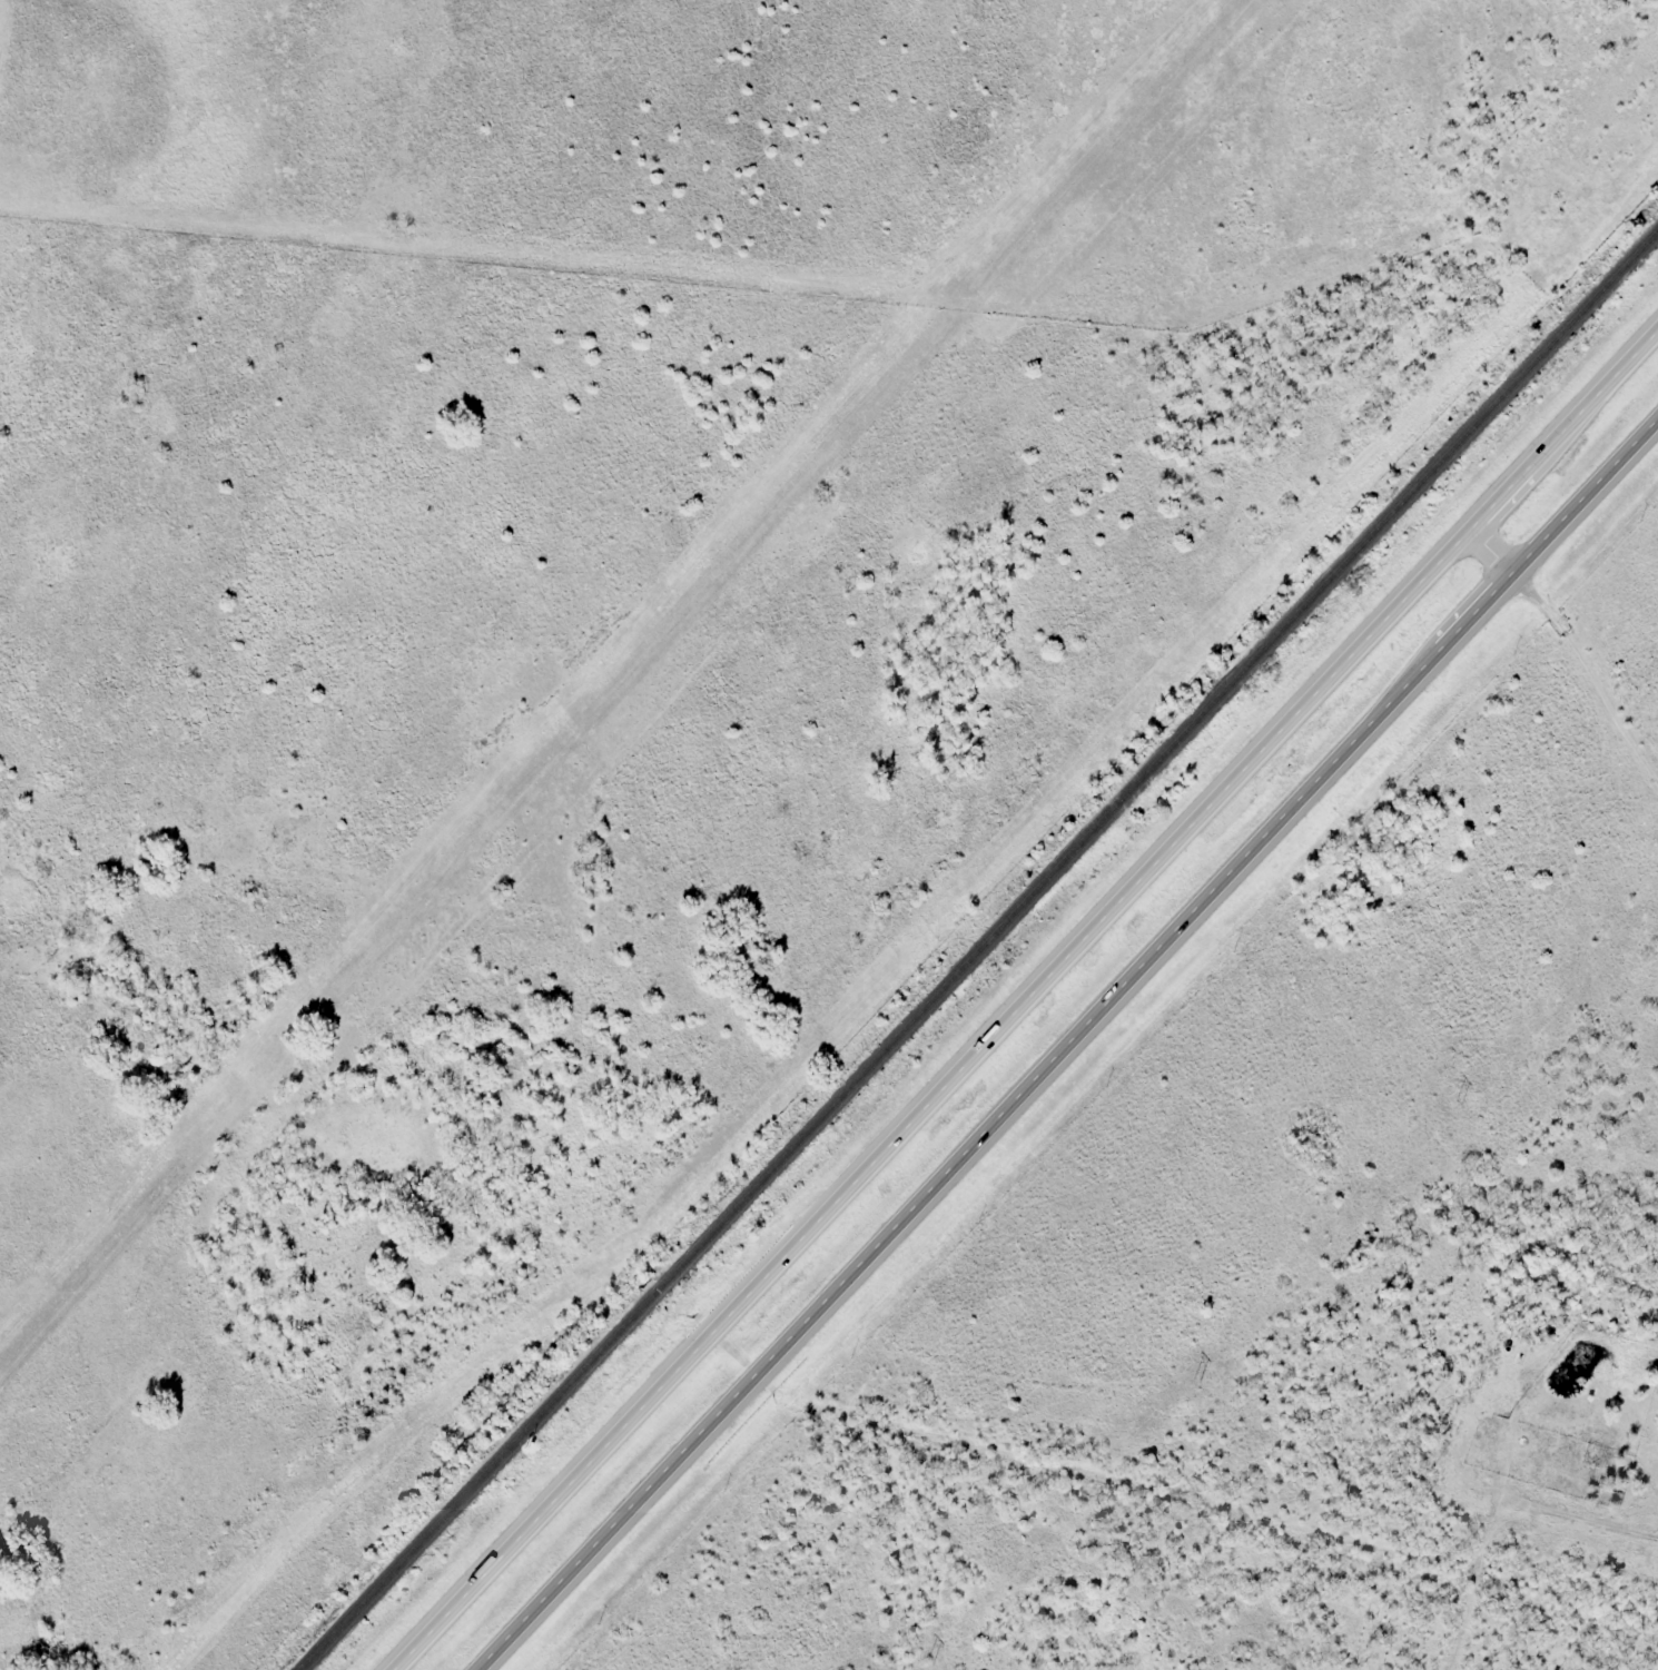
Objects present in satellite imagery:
road: (1571, 672)
railway: (978, 949)
road: (1033, 1009)
road: (1070, 1057)
power tower: (1458, 1103)
power tower: (1197, 1381)
power tower: (929, 1661)

